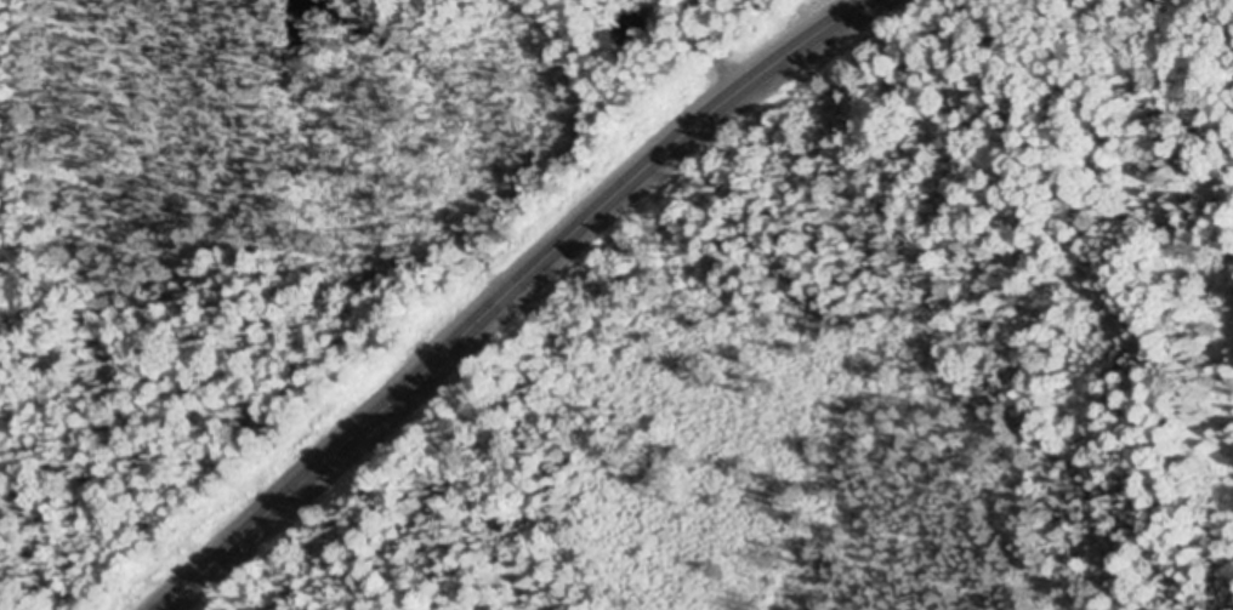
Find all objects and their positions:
road: (507, 295)

